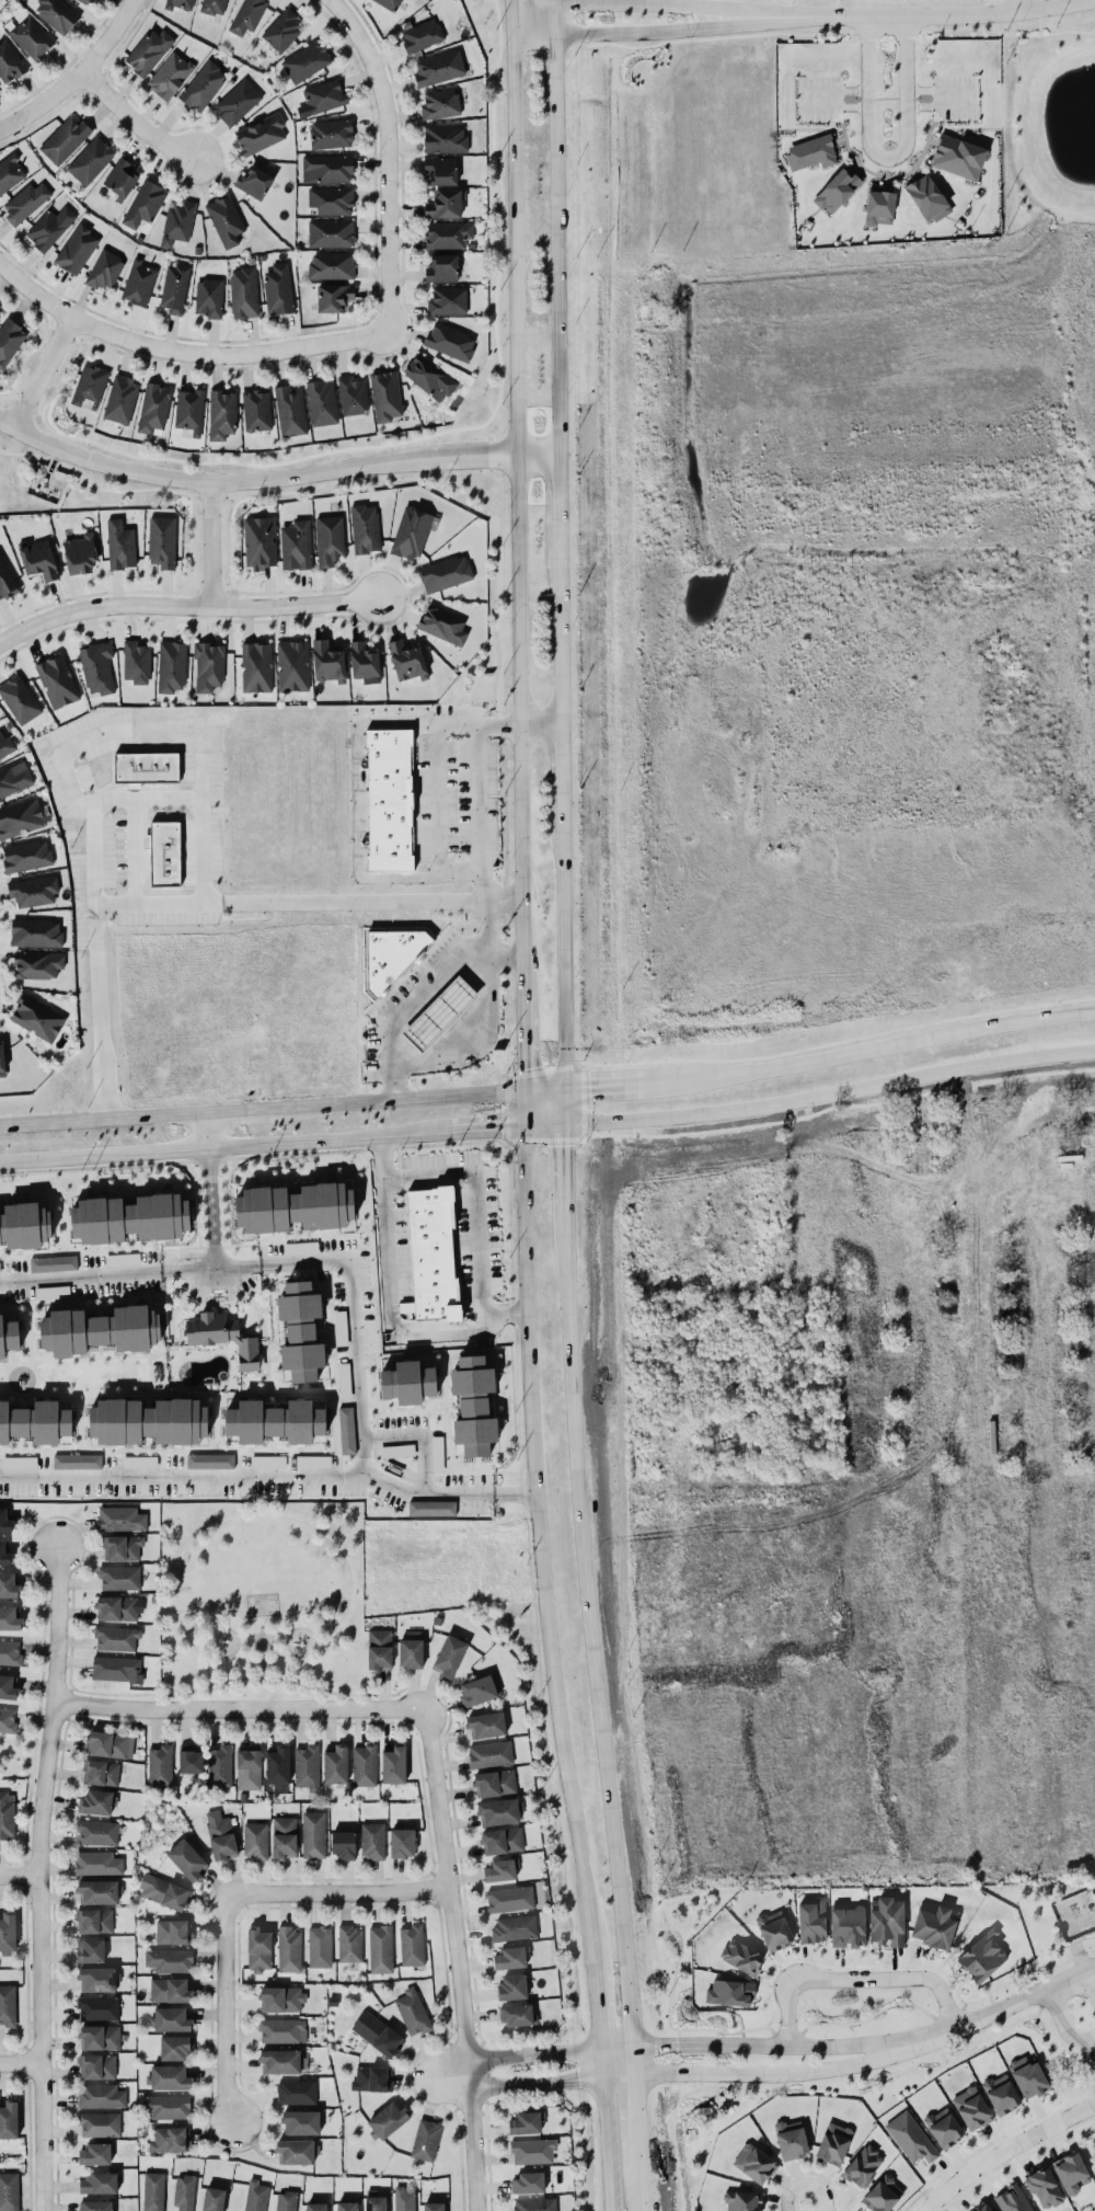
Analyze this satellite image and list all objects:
building: (88, 1)
road: (650, 2)
building: (390, 3)
building: (181, 4)
road: (1019, 4)
building: (212, 7)
road: (512, 9)
road: (531, 10)
building: (57, 13)
road: (913, 14)
building: (247, 15)
road: (1038, 20)
building: (281, 30)
road: (1000, 31)
road: (632, 32)
building: (422, 35)
building: (32, 37)
building: (149, 50)
building: (9, 61)
building: (306, 61)
building: (439, 67)
building: (170, 75)
road: (79, 77)
building: (203, 84)
parking lot: (955, 95)
building: (321, 98)
parking lot: (819, 98)
building: (237, 101)
building: (440, 103)
road: (136, 122)
building: (260, 134)
building: (331, 134)
building: (65, 138)
building: (445, 138)
building: (810, 152)
road: (887, 156)
building: (958, 157)
road: (393, 158)
building: (91, 160)
building: (326, 168)
building: (440, 170)
building: (10, 173)
building: (120, 177)
building: (254, 182)
building: (838, 190)
building: (927, 197)
building: (331, 199)
building: (25, 202)
building: (145, 203)
building: (445, 204)
building: (879, 207)
building: (224, 220)
building: (177, 221)
building: (50, 227)
road: (555, 227)
building: (331, 232)
building: (448, 234)
building: (77, 249)
building: (331, 265)
building: (441, 267)
building: (104, 270)
building: (138, 282)
building: (174, 287)
building: (278, 288)
building: (243, 291)
building: (209, 297)
building: (334, 297)
building: (447, 300)
building: (0, 313)
building: (10, 340)
building: (450, 341)
road: (184, 352)
road: (44, 371)
building: (429, 377)
building: (90, 383)
building: (353, 396)
building: (385, 396)
building: (120, 399)
building: (322, 402)
building: (153, 408)
building: (189, 410)
building: (256, 410)
building: (290, 410)
building: (221, 414)
road: (8, 422)
road: (285, 478)
road: (562, 490)
road: (521, 505)
building: (365, 527)
building: (411, 532)
building: (328, 539)
building: (162, 541)
building: (260, 541)
road: (211, 542)
building: (120, 543)
building: (296, 545)
building: (80, 552)
building: (38, 559)
building: (445, 573)
building: (5, 581)
road: (188, 604)
road: (564, 623)
building: (442, 625)
building: (406, 660)
building: (364, 661)
building: (136, 662)
building: (327, 662)
building: (292, 665)
building: (96, 666)
building: (171, 666)
building: (208, 666)
building: (256, 666)
building: (57, 680)
building: (19, 698)
building: (4, 743)
road: (60, 755)
road: (565, 758)
building: (146, 767)
building: (14, 778)
road: (479, 791)
road: (134, 798)
road: (437, 798)
building: (389, 799)
road: (357, 800)
building: (22, 817)
building: (163, 852)
building: (26, 855)
building: (33, 890)
road: (178, 905)
building: (35, 932)
road: (566, 940)
road: (486, 946)
building: (393, 955)
building: (37, 963)
road: (418, 999)
building: (439, 1012)
building: (37, 1017)
road: (456, 1039)
road: (528, 1042)
road: (831, 1056)
building: (2, 1061)
traffic signals: (566, 1087)
road: (547, 1088)
traffic signals: (529, 1090)
road: (830, 1092)
road: (401, 1099)
road: (565, 1104)
road: (527, 1109)
road: (240, 1110)
road: (103, 1119)
traffic signals: (564, 1123)
road: (544, 1125)
traffic signals: (526, 1127)
road: (488, 1130)
road: (226, 1147)
road: (565, 1166)
road: (475, 1200)
building: (295, 1206)
building: (130, 1217)
road: (212, 1217)
building: (24, 1224)
building: (300, 1247)
building: (431, 1256)
building: (122, 1258)
building: (53, 1262)
road: (238, 1264)
road: (79, 1275)
building: (51, 1291)
road: (388, 1307)
building: (341, 1327)
building: (100, 1329)
building: (300, 1330)
building: (9, 1336)
building: (222, 1336)
building: (344, 1379)
building: (407, 1382)
building: (473, 1405)
building: (148, 1420)
building: (35, 1421)
building: (275, 1421)
building: (346, 1430)
road: (416, 1436)
building: (396, 1450)
building: (437, 1453)
building: (77, 1460)
building: (139, 1460)
building: (210, 1460)
building: (267, 1460)
building: (312, 1460)
building: (19, 1462)
road: (333, 1474)
road: (428, 1489)
road: (516, 1490)
building: (431, 1508)
road: (264, 1514)
building: (122, 1517)
building: (5, 1520)
road: (542, 1545)
building: (122, 1547)
building: (4, 1554)
building: (119, 1577)
building: (9, 1584)
park: (261, 1599)
building: (116, 1607)
building: (9, 1618)
road: (591, 1625)
road: (224, 1627)
road: (290, 1631)
building: (116, 1637)
road: (246, 1640)
road: (279, 1640)
road: (206, 1649)
road: (320, 1649)
building: (379, 1649)
building: (10, 1651)
building: (410, 1652)
building: (449, 1656)
building: (114, 1668)
road: (217, 1681)
building: (8, 1686)
road: (384, 1687)
building: (479, 1691)
road: (239, 1707)
building: (7, 1719)
building: (486, 1725)
building: (109, 1743)
building: (489, 1754)
road: (24, 1756)
building: (191, 1757)
building: (335, 1764)
building: (364, 1764)
building: (393, 1764)
building: (160, 1765)
building: (219, 1765)
building: (277, 1765)
building: (247, 1766)
building: (307, 1766)
building: (101, 1772)
building: (494, 1783)
building: (97, 1801)
building: (498, 1811)
building: (7, 1814)
building: (97, 1832)
building: (313, 1834)
building: (220, 1835)
building: (284, 1836)
building: (255, 1840)
building: (372, 1840)
building: (503, 1840)
building: (401, 1842)
building: (343, 1844)
building: (187, 1859)
building: (97, 1863)
building: (499, 1869)
road: (20, 1875)
road: (39, 1877)
building: (97, 1891)
building: (164, 1891)
road: (337, 1893)
building: (509, 1899)
building: (94, 1920)
building: (812, 1920)
building: (886, 1921)
building: (934, 1925)
building: (848, 1926)
building: (514, 1927)
building: (774, 1929)
building: (173, 1931)
building: (8, 1933)
building: (349, 1943)
building: (412, 1944)
building: (319, 1946)
building: (258, 1948)
building: (289, 1948)
building: (380, 1948)
building: (90, 1949)
building: (741, 1956)
building: (982, 1956)
building: (510, 1957)
building: (170, 1960)
road: (460, 1961)
road: (854, 1975)
building: (96, 1979)
road: (1090, 1979)
building: (511, 1986)
building: (170, 1990)
building: (729, 1992)
building: (281, 1998)
road: (1017, 2000)
road: (598, 2003)
building: (8, 2005)
building: (97, 2007)
road: (226, 2009)
building: (412, 2010)
building: (518, 2014)
building: (171, 2018)
road: (1063, 2021)
building: (280, 2029)
building: (377, 2032)
building: (99, 2036)
road: (1093, 2039)
road: (618, 2042)
road: (786, 2043)
building: (175, 2047)
road: (634, 2057)
road: (603, 2059)
building: (280, 2060)
road: (23, 2061)
building: (96, 2065)
road: (789, 2071)
road: (620, 2073)
building: (169, 2076)
building: (1028, 2076)
building: (372, 2078)
road: (427, 2078)
building: (296, 2092)
building: (1001, 2093)
building: (100, 2095)
building: (166, 2106)
building: (971, 2107)
building: (9, 2119)
building: (388, 2119)
building: (301, 2121)
building: (525, 2122)
road: (637, 2122)
building: (99, 2123)
building: (944, 2127)
building: (910, 2136)
building: (170, 2139)
building: (426, 2139)
building: (791, 2139)
road: (609, 2142)
building: (833, 2142)
building: (532, 2150)
building: (297, 2151)
road: (1004, 2151)
building: (94, 2153)
building: (754, 2163)
building: (863, 2165)
building: (1071, 2173)
building: (99, 2181)
building: (529, 2181)
building: (1044, 2188)
building: (9, 2191)
building: (153, 2191)
building: (184, 2192)
road: (639, 2192)
building: (883, 2193)
building: (255, 2196)
building: (212, 2199)
building: (403, 2199)
building: (1013, 2199)
building: (285, 2200)
building: (742, 2200)
building: (374, 2201)
building: (534, 2203)
building: (96, 2206)
building: (346, 2206)
building: (433, 2206)
building: (315, 2207)
road: (810, 2207)
building: (982, 2208)

